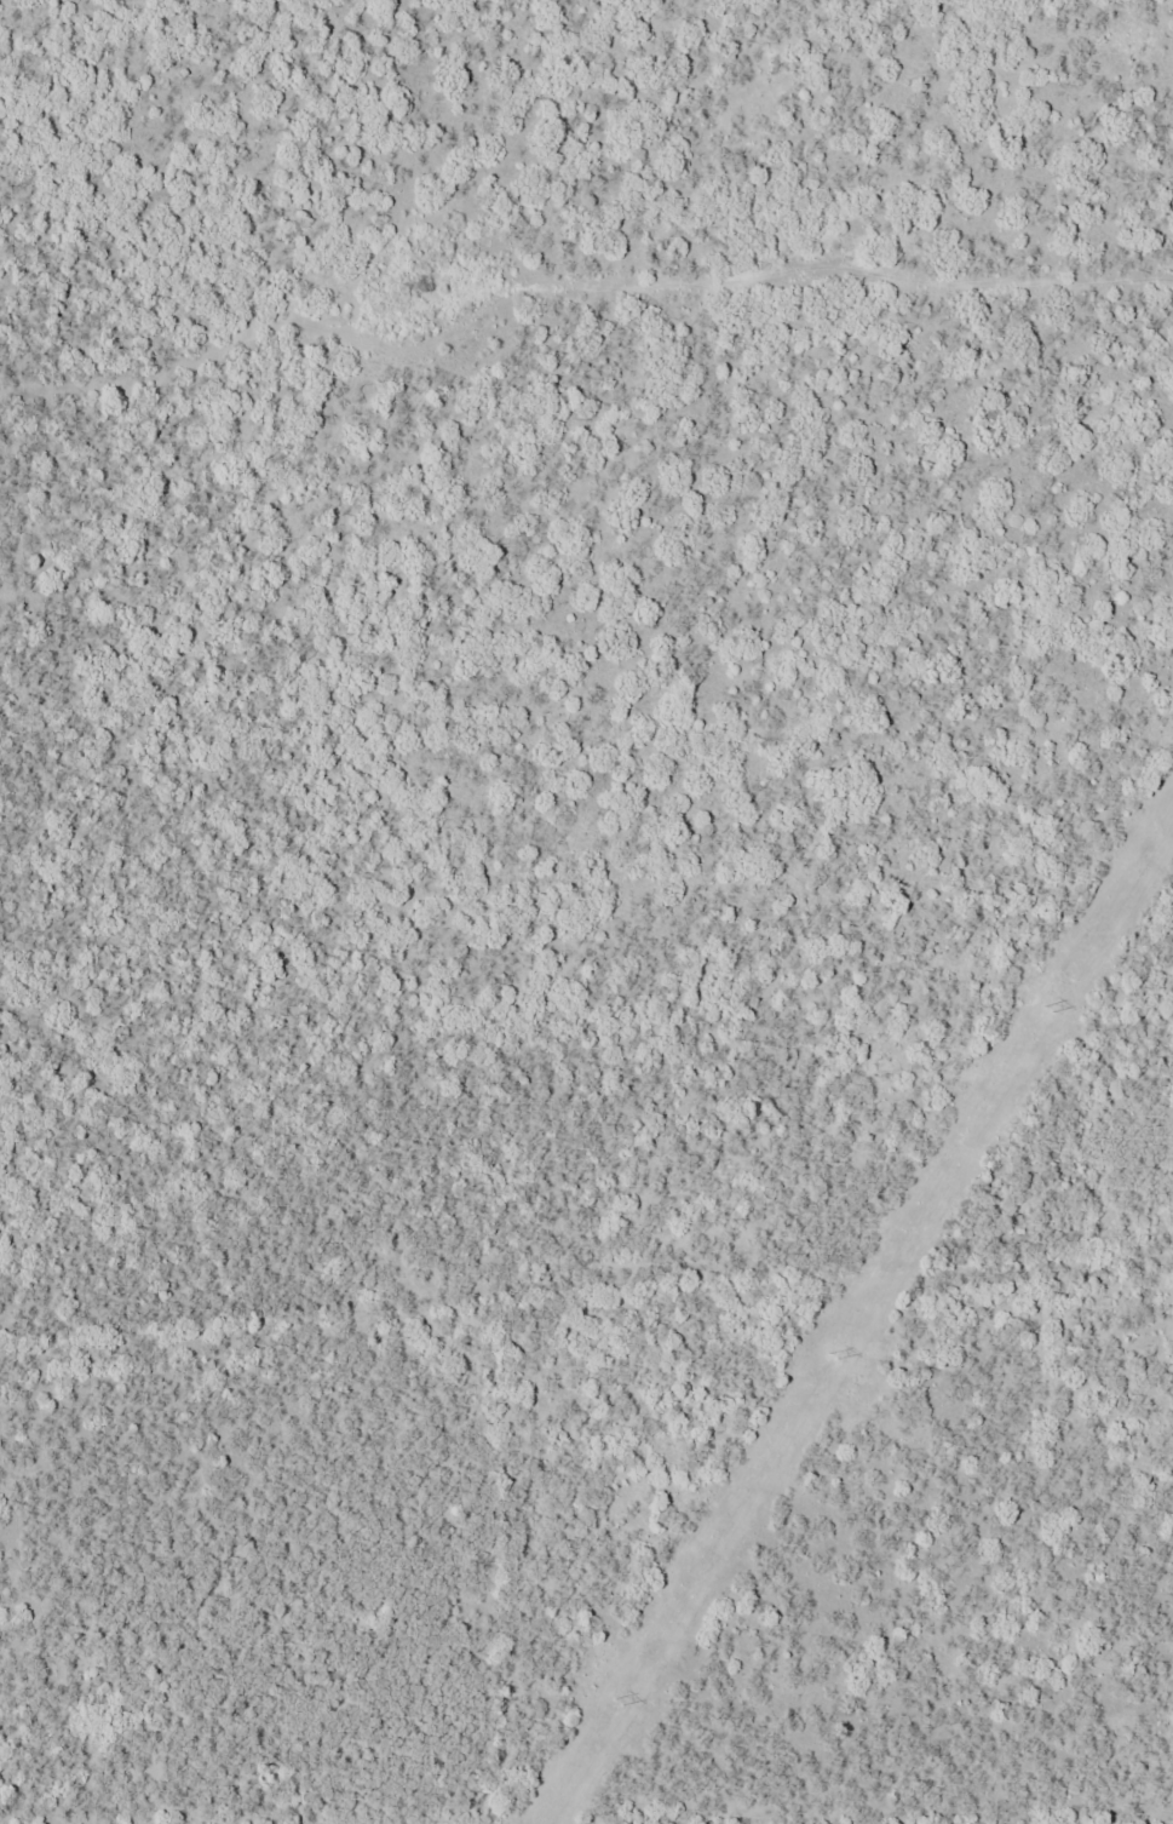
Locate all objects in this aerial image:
road: (864, 311)
power tower: (1043, 1009)
power tower: (829, 1353)
power tower: (614, 1698)

